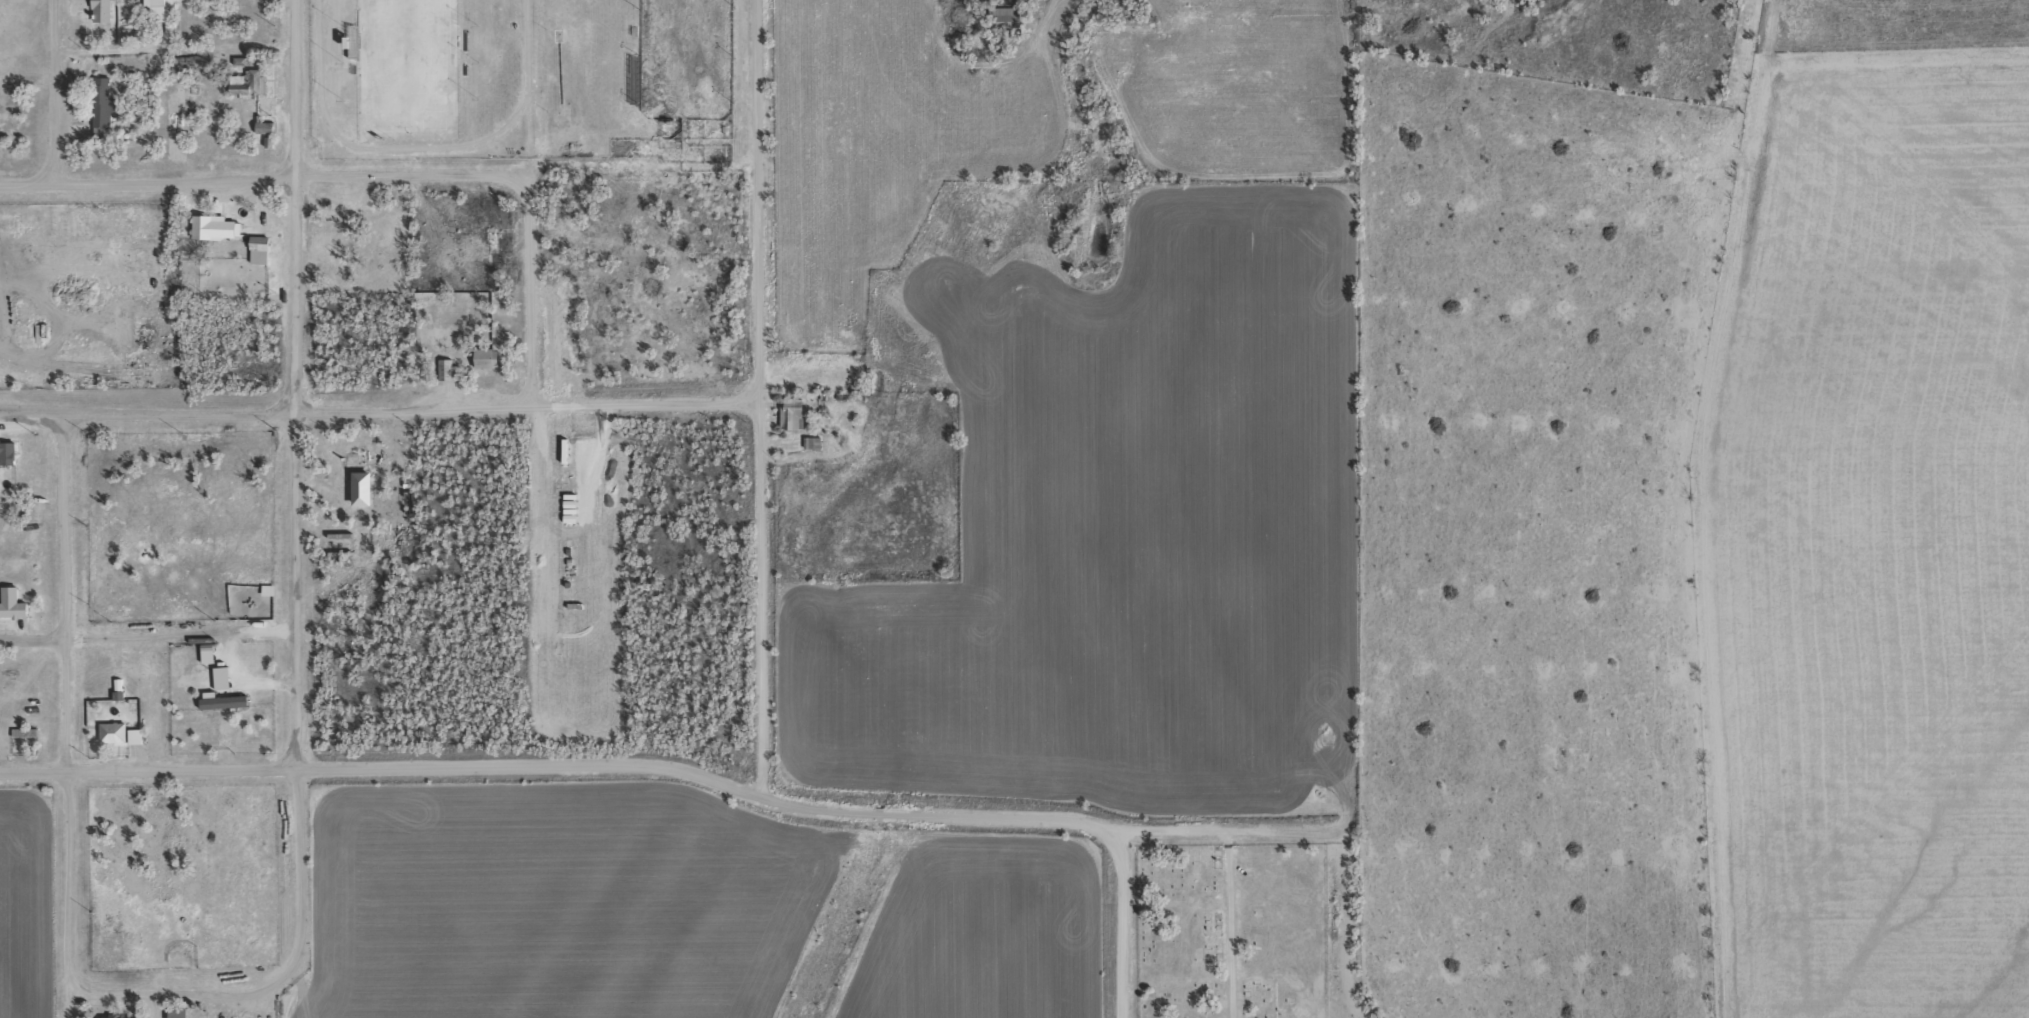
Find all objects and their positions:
building: (106, 8)
building: (160, 9)
building: (150, 11)
road: (170, 50)
park: (683, 58)
park: (405, 64)
building: (251, 83)
road: (48, 92)
building: (107, 106)
building: (270, 126)
road: (261, 181)
building: (344, 216)
building: (371, 216)
building: (362, 219)
building: (216, 225)
building: (488, 235)
building: (263, 249)
road: (525, 292)
building: (491, 356)
building: (479, 358)
building: (452, 366)
building: (247, 370)
road: (287, 384)
road: (380, 409)
building: (795, 410)
building: (815, 440)
building: (9, 450)
building: (244, 457)
building: (350, 470)
road: (60, 592)
building: (16, 600)
road: (30, 641)
road: (763, 670)
building: (229, 699)
building: (28, 731)
building: (116, 732)
building: (139, 734)
road: (524, 766)
road: (177, 770)
road: (30, 772)
road: (1225, 861)
road: (62, 892)
park: (1227, 931)
road: (287, 967)
building: (183, 1011)
building: (128, 1017)

